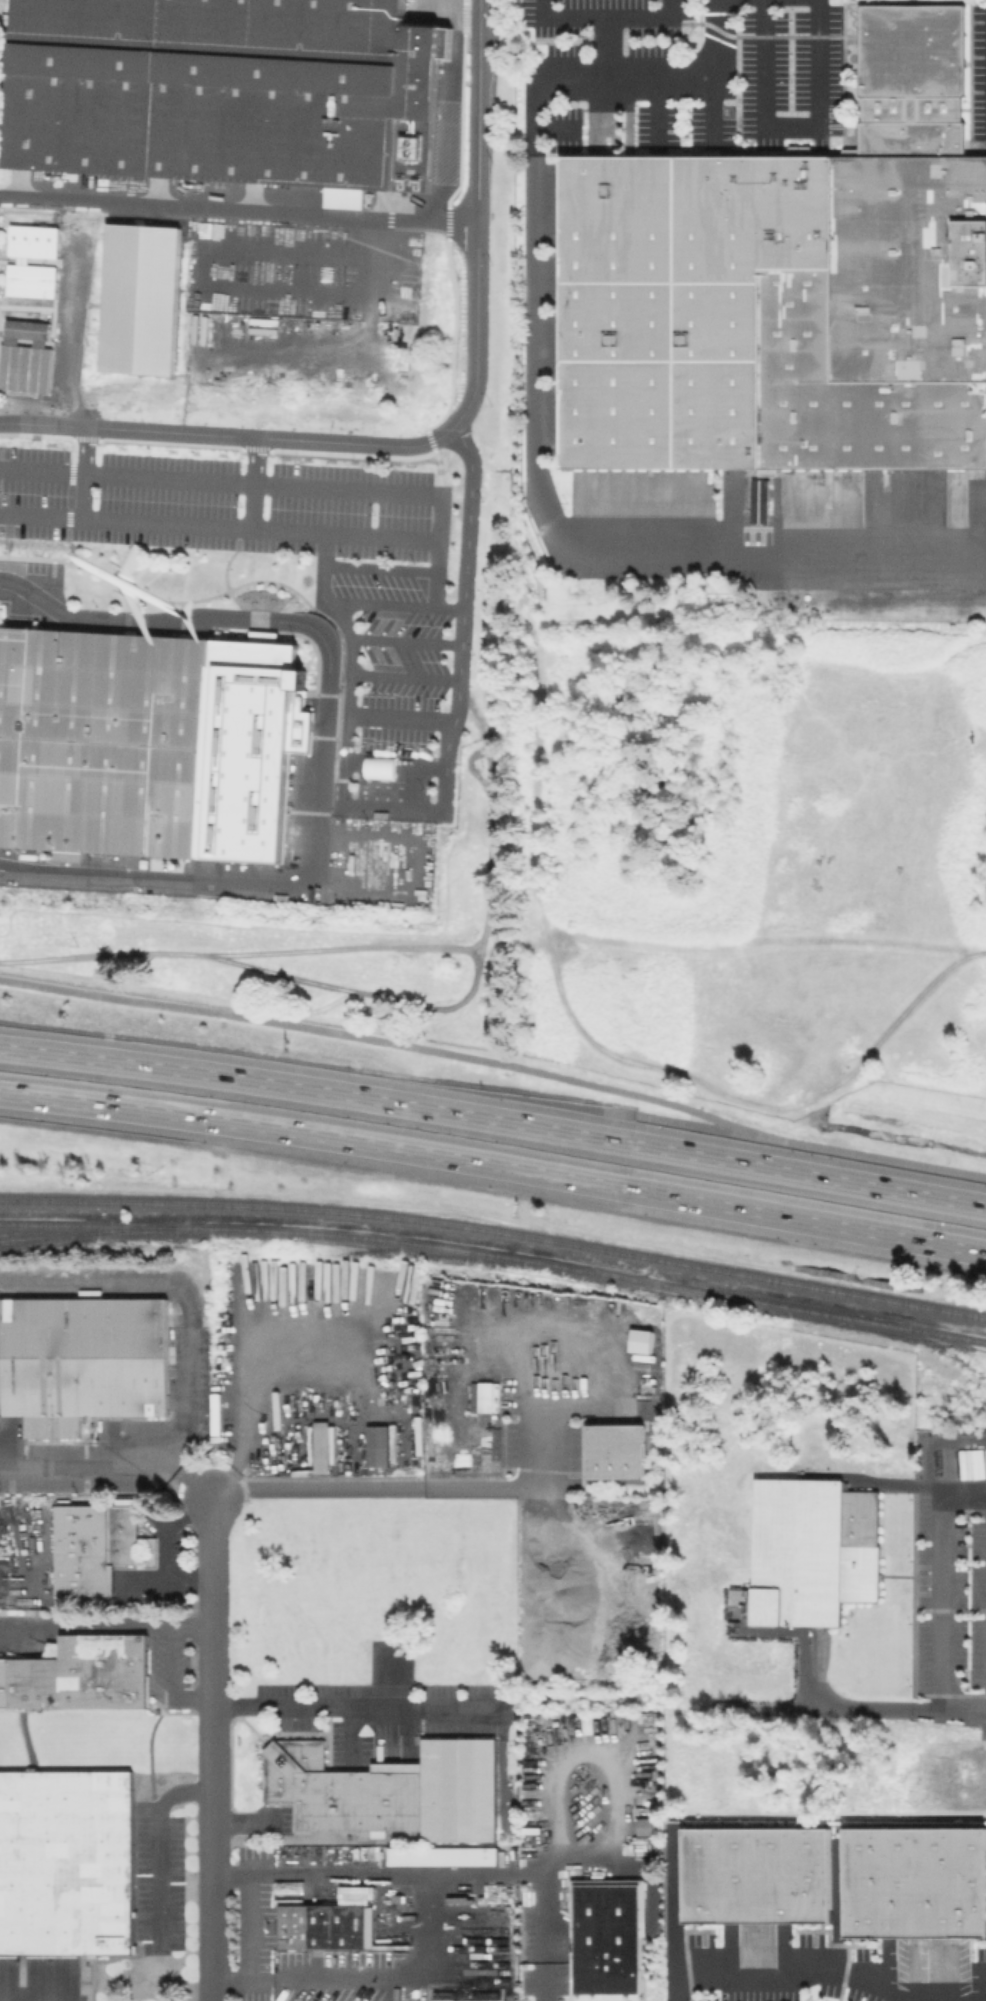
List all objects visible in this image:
road: (564, 14)
road: (644, 14)
road: (604, 44)
building: (222, 89)
road: (789, 128)
building: (345, 200)
road: (239, 209)
building: (35, 242)
building: (33, 281)
building: (786, 285)
building: (141, 298)
road: (72, 334)
building: (29, 337)
road: (532, 399)
road: (443, 435)
road: (83, 447)
road: (41, 467)
road: (251, 482)
road: (404, 491)
building: (758, 496)
road: (63, 516)
road: (258, 528)
road: (450, 606)
road: (346, 725)
building: (105, 743)
road: (331, 804)
road: (195, 881)
road: (496, 1062)
road: (308, 1089)
road: (679, 1122)
road: (494, 1164)
road: (801, 1174)
railway: (281, 1207)
railway: (87, 1232)
railway: (54, 1239)
railway: (380, 1252)
railway: (496, 1254)
railway: (773, 1276)
building: (640, 1340)
building: (83, 1360)
building: (483, 1389)
building: (376, 1445)
building: (322, 1446)
building: (613, 1451)
road: (111, 1463)
road: (379, 1491)
road: (173, 1523)
building: (124, 1532)
building: (803, 1547)
building: (863, 1548)
building: (85, 1552)
road: (186, 1581)
road: (948, 1587)
road: (212, 1605)
building: (770, 1605)
road: (92, 1630)
road: (175, 1663)
building: (80, 1675)
road: (352, 1708)
road: (882, 1710)
road: (212, 1780)
building: (391, 1789)
road: (163, 1852)
building: (444, 1858)
building: (67, 1863)
road: (441, 1876)
building: (754, 1882)
building: (916, 1893)
building: (528, 1899)
road: (213, 1923)
building: (324, 1927)
building: (614, 1940)
road: (251, 1947)
road: (789, 1977)
road: (388, 1978)

